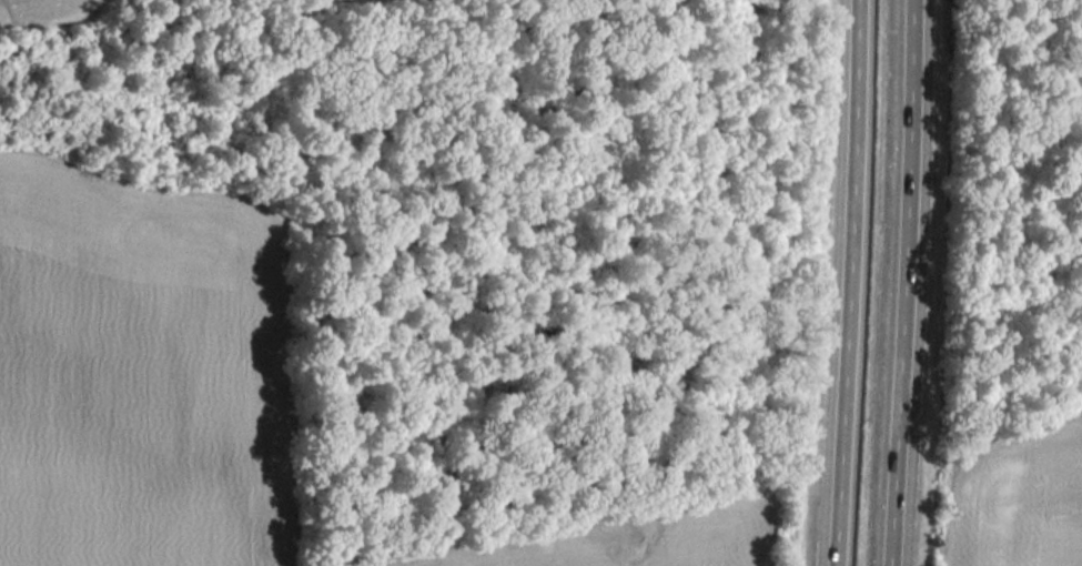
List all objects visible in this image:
road: (862, 283)
road: (920, 283)

